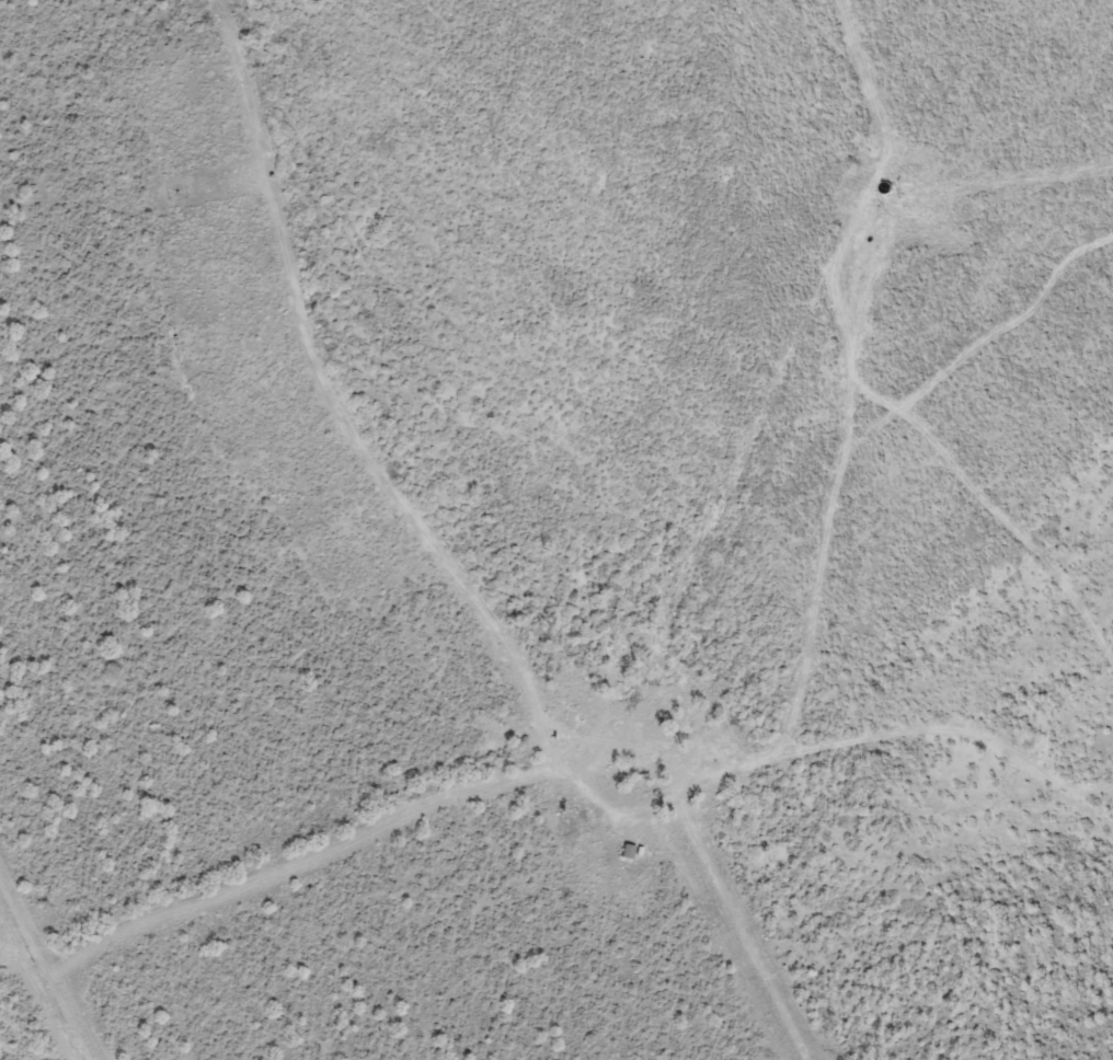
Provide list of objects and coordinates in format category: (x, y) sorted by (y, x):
road: (1003, 332)
road: (942, 449)
road: (708, 733)

